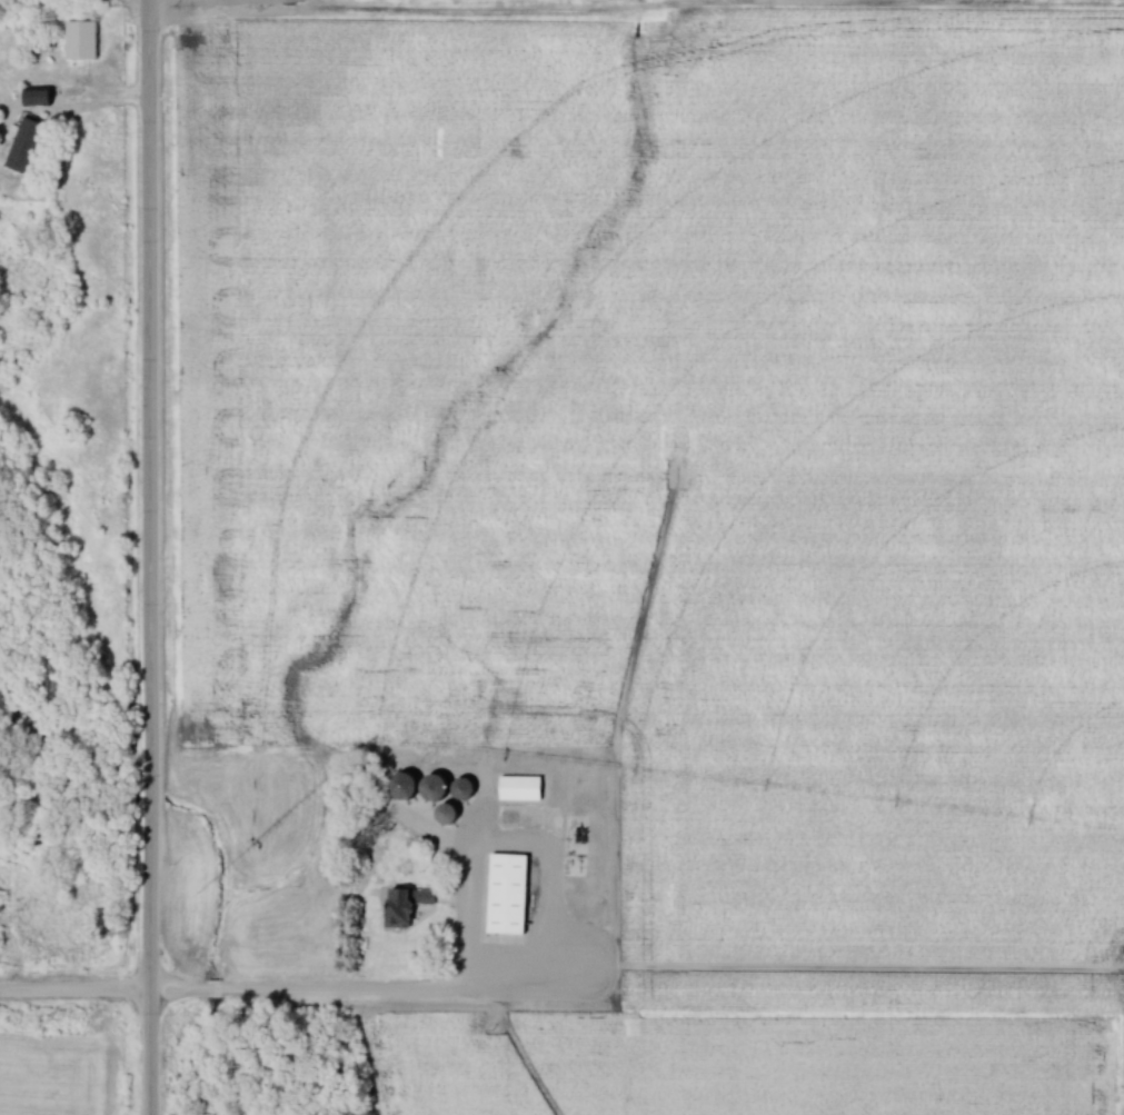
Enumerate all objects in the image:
building: (88, 39)
building: (44, 99)
building: (31, 145)
road: (150, 557)
building: (595, 757)
building: (526, 788)
building: (440, 789)
building: (454, 816)
building: (514, 894)
building: (2, 905)
building: (411, 908)
road: (466, 944)
road: (233, 992)
crop: (830, 1066)
crop: (449, 1068)
crop: (51, 1074)

